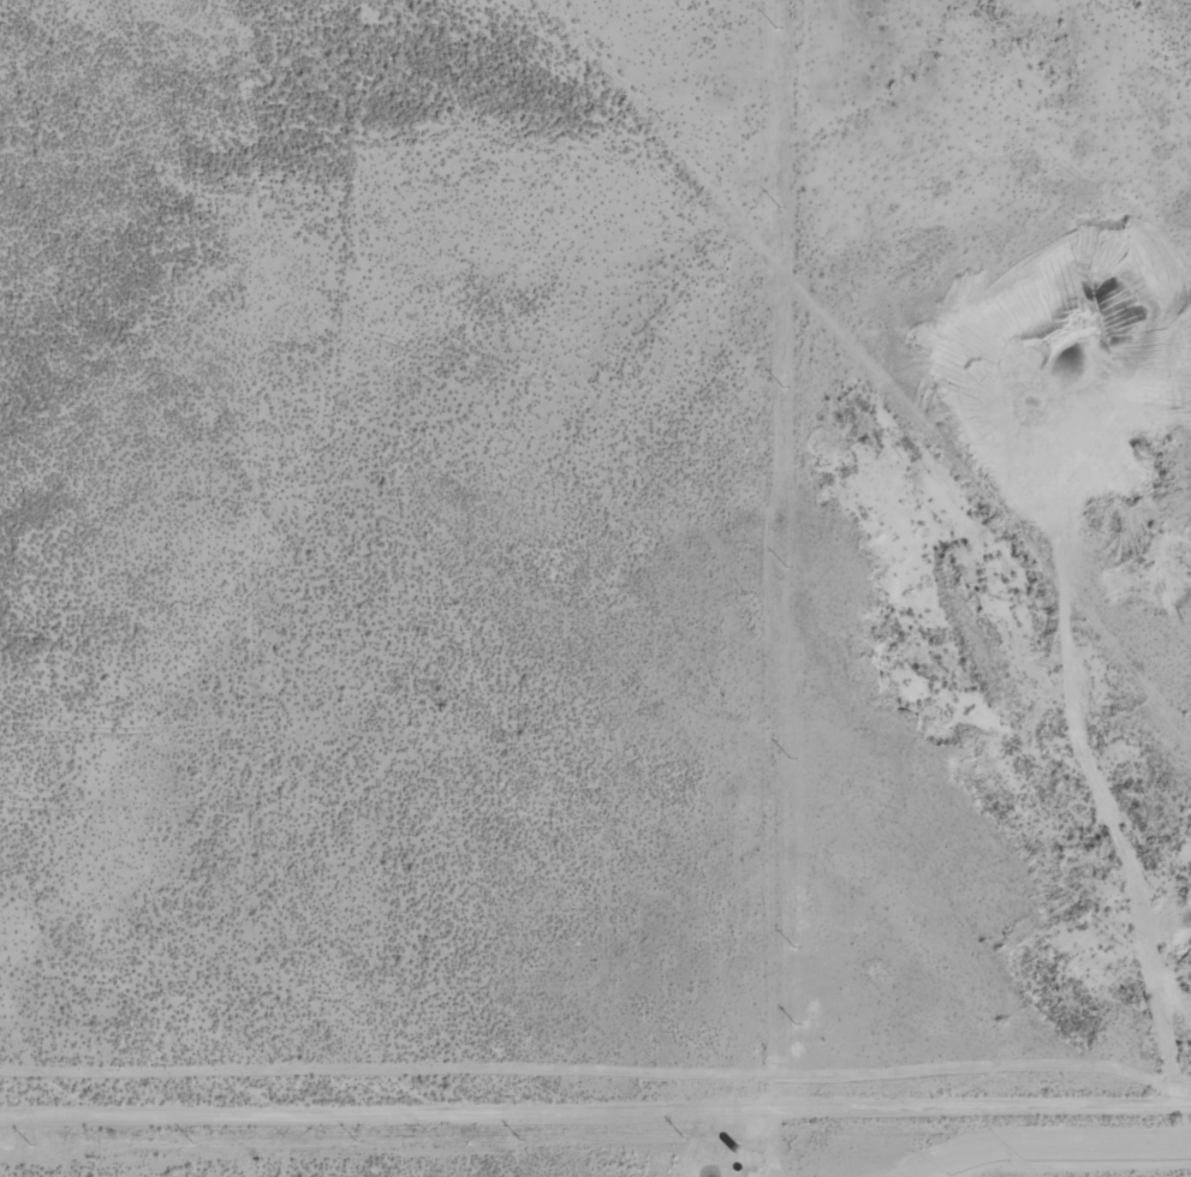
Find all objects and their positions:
road: (800, 590)
road: (594, 1069)
road: (595, 1143)
road: (88, 1160)

